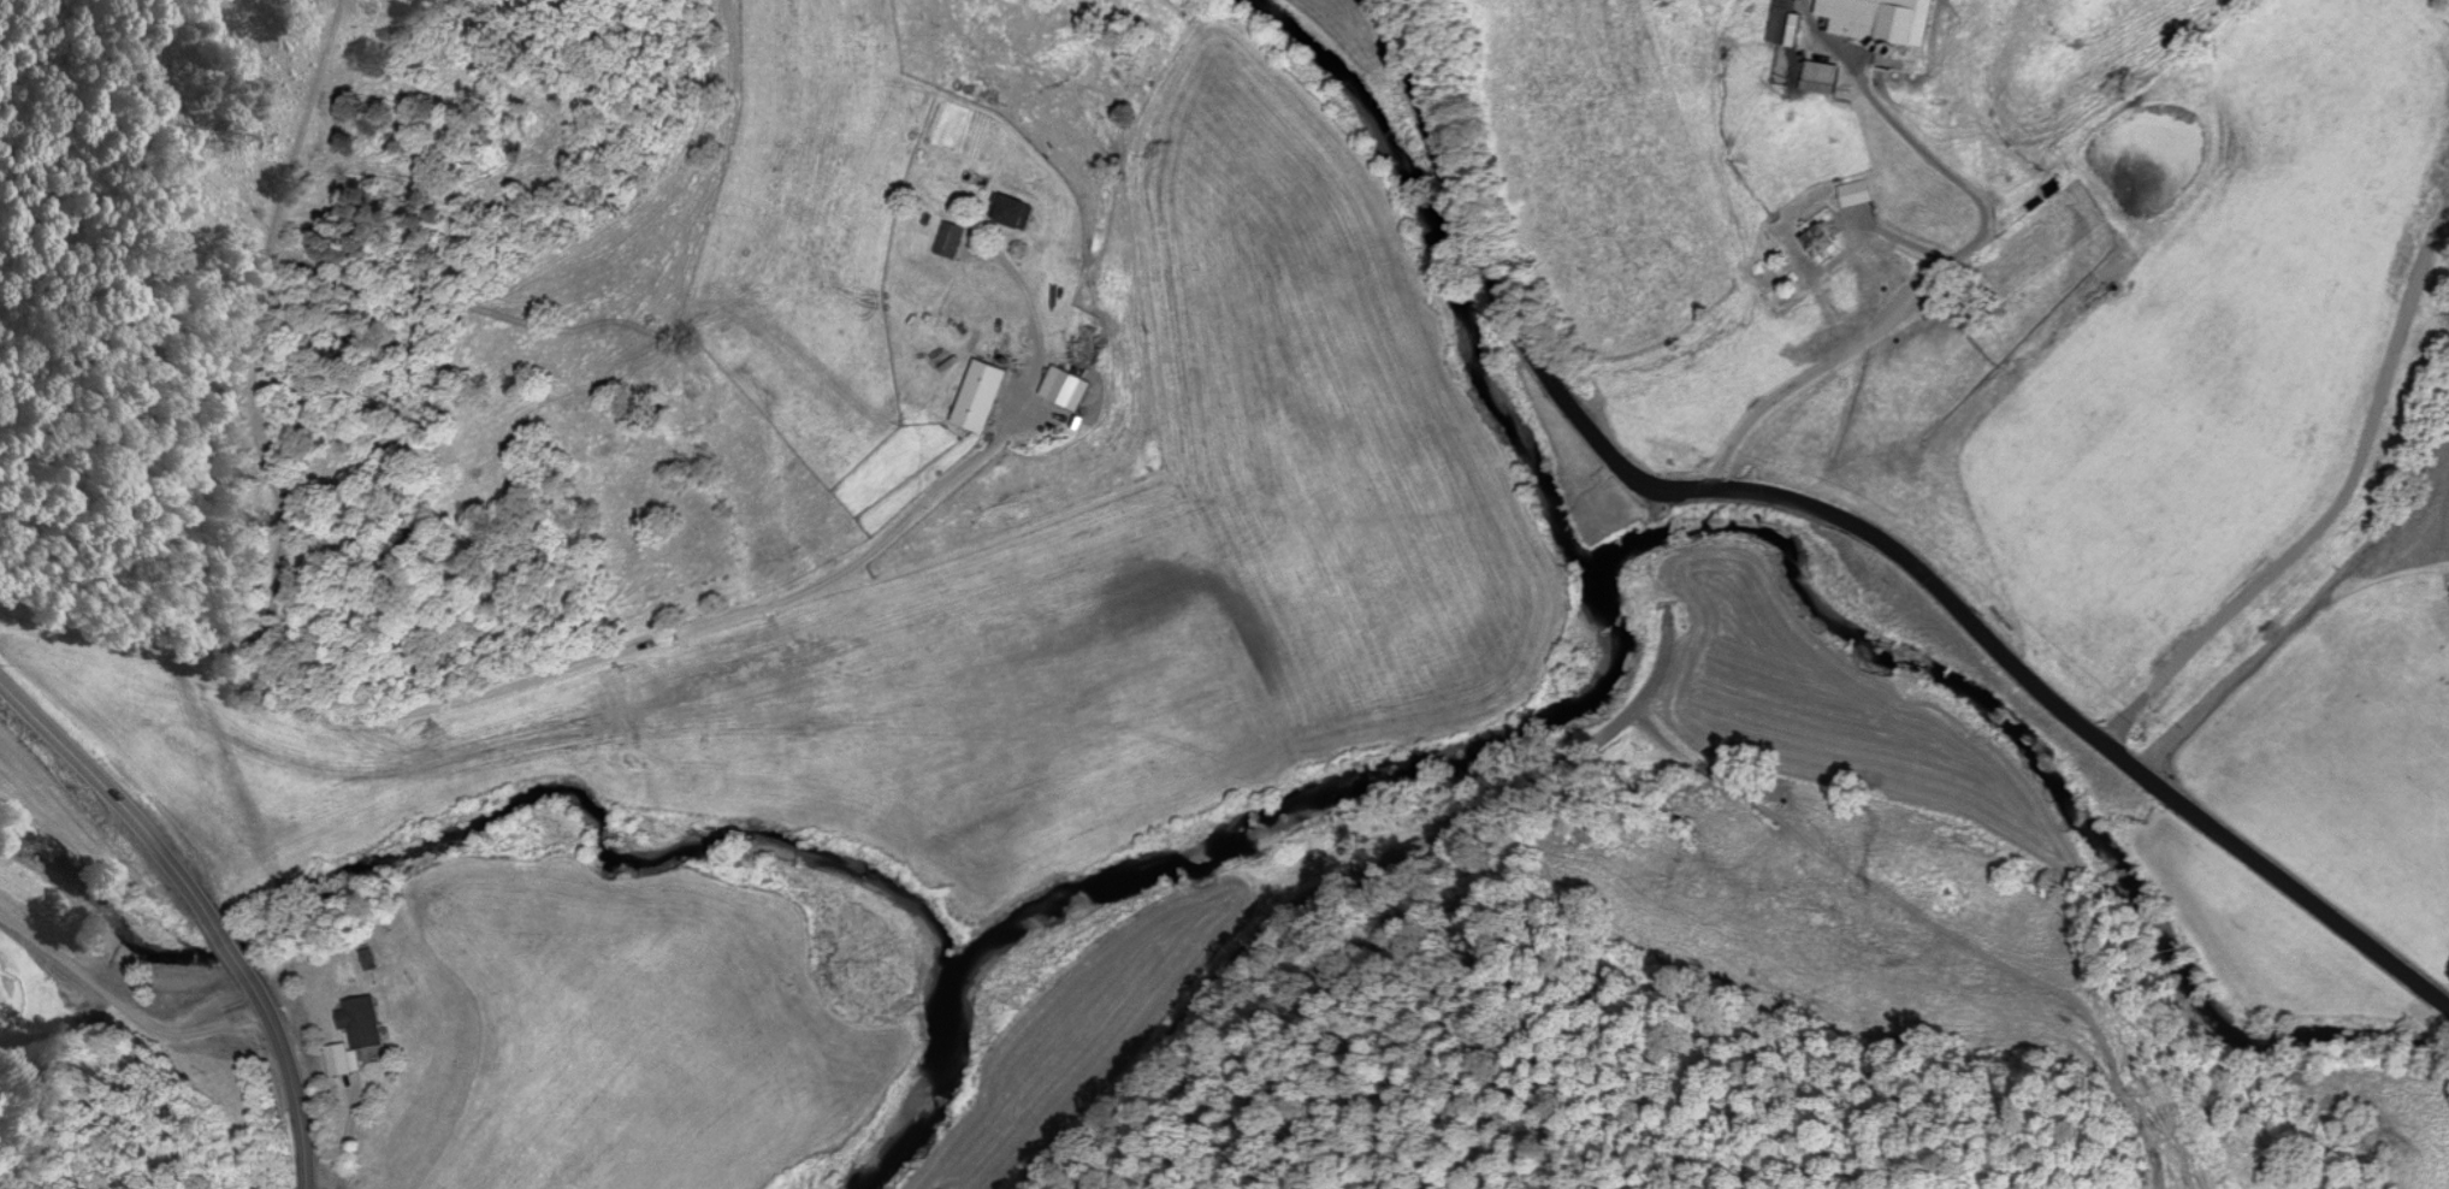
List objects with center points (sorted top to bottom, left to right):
building: (1883, 20)
building: (1802, 53)
building: (1859, 194)
building: (1028, 214)
building: (1829, 238)
building: (957, 241)
road: (1498, 278)
river: (1448, 284)
building: (989, 397)
road: (635, 651)
road: (2072, 721)
river: (1206, 852)
road: (1400, 894)
road: (203, 906)
road: (124, 1005)
building: (369, 1023)
building: (348, 1060)

